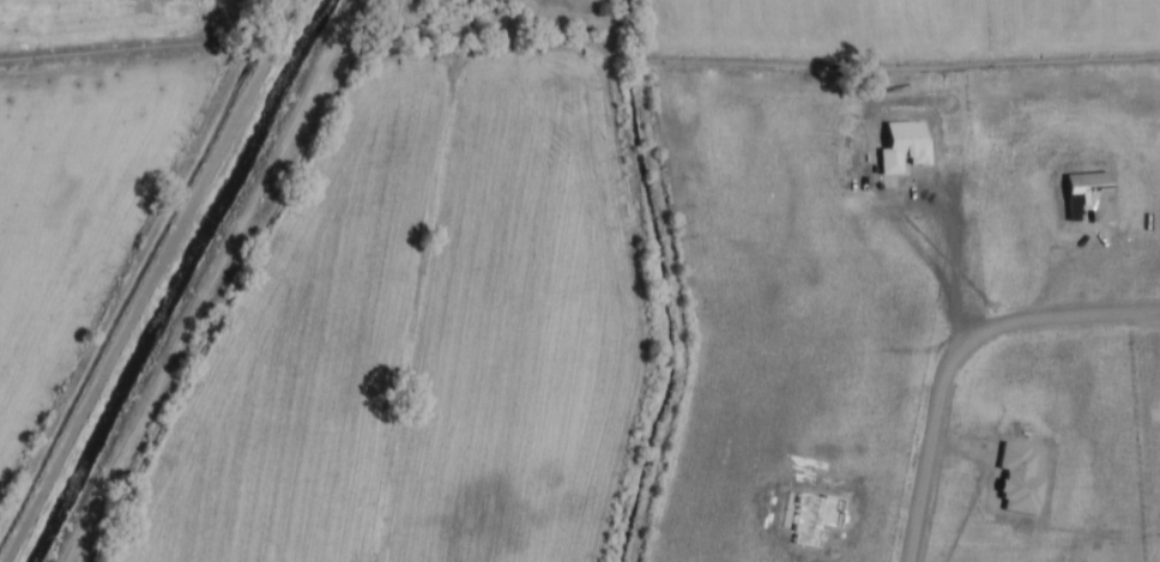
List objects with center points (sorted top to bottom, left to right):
building: (1062, 326)

